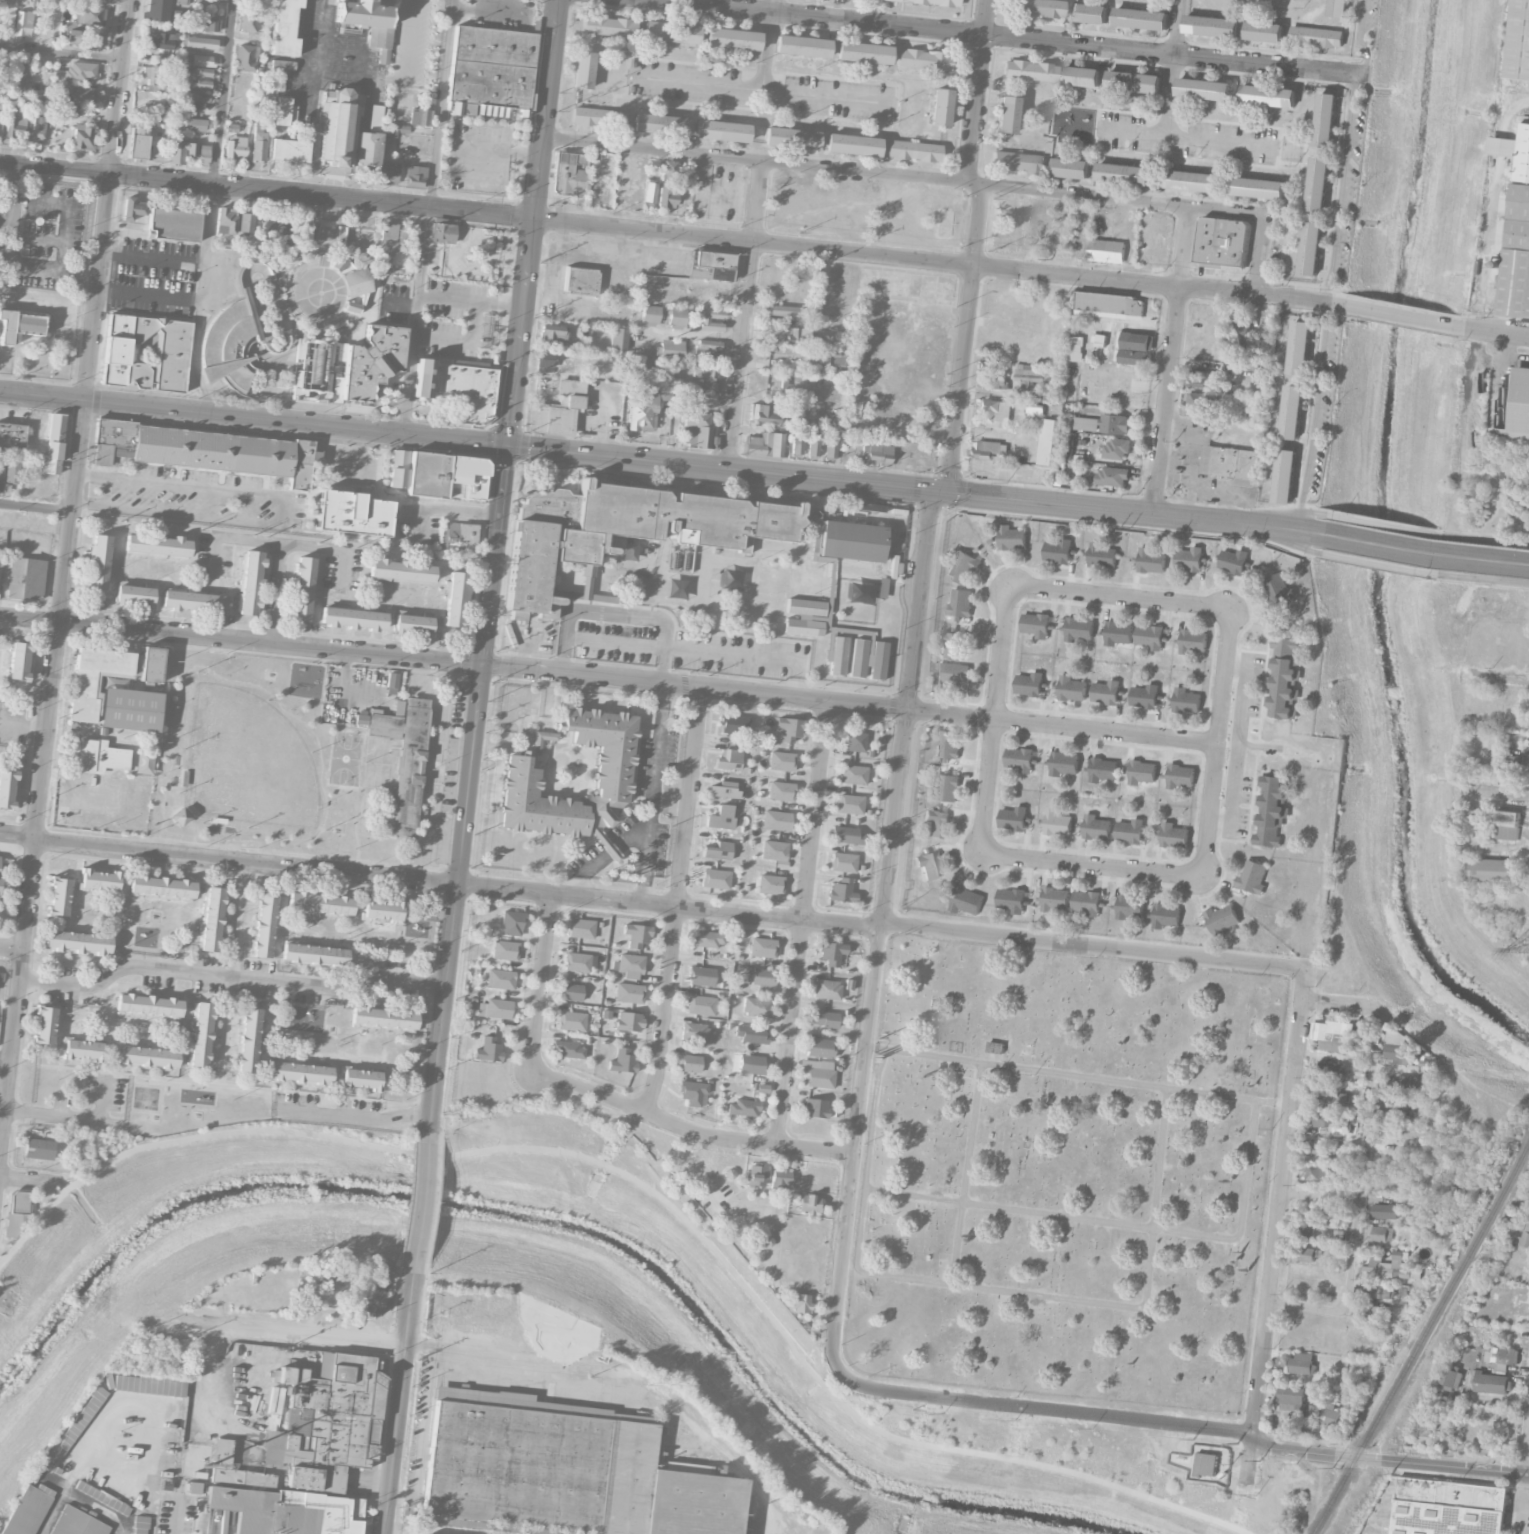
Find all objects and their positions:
building: (99, 0)
building: (252, 0)
building: (894, 0)
building: (937, 2)
building: (200, 4)
building: (1041, 8)
building: (1339, 8)
building: (158, 10)
building: (1089, 12)
building: (1142, 18)
building: (188, 19)
building: (369, 21)
building: (247, 22)
building: (23, 23)
building: (210, 25)
building: (1211, 25)
building: (609, 26)
building: (284, 28)
building: (1264, 31)
building: (670, 32)
building: (1317, 36)
building: (83, 37)
road: (999, 37)
building: (732, 39)
building: (163, 40)
building: (1519, 41)
building: (201, 43)
road: (769, 44)
building: (802, 46)
road: (61, 52)
building: (863, 53)
building: (245, 57)
building: (924, 59)
building: (199, 60)
building: (283, 64)
road: (1176, 68)
building: (583, 70)
building: (1029, 70)
building: (490, 71)
building: (80, 72)
building: (204, 72)
building: (19, 75)
building: (1082, 76)
building: (155, 78)
building: (1135, 81)
road: (764, 89)
building: (1205, 89)
road: (979, 91)
building: (81, 95)
building: (1269, 95)
building: (0, 101)
building: (199, 101)
road: (1522, 101)
building: (940, 107)
building: (283, 110)
building: (376, 114)
building: (1007, 114)
building: (420, 117)
building: (598, 117)
building: (156, 118)
building: (1325, 119)
building: (197, 124)
building: (659, 124)
building: (15, 126)
building: (339, 126)
building: (36, 128)
building: (721, 131)
building: (82, 137)
building: (791, 138)
road: (1187, 138)
building: (136, 142)
building: (259, 142)
building: (852, 144)
building: (235, 147)
building: (367, 148)
building: (290, 150)
building: (181, 151)
building: (914, 151)
building: (204, 152)
road: (754, 161)
building: (1018, 161)
building: (1072, 167)
building: (388, 172)
building: (670, 172)
building: (1125, 173)
building: (569, 174)
building: (415, 176)
building: (1194, 181)
building: (1318, 183)
road: (975, 184)
building: (1258, 187)
building: (650, 192)
road: (1086, 194)
building: (667, 197)
road: (209, 206)
building: (133, 208)
road: (1498, 215)
road: (428, 217)
road: (1265, 217)
building: (226, 220)
building: (246, 222)
road: (532, 222)
building: (174, 224)
building: (442, 233)
road: (668, 233)
building: (1008, 234)
building: (391, 239)
building: (1222, 241)
building: (1311, 248)
building: (1107, 250)
road: (12, 256)
road: (153, 256)
road: (1331, 271)
building: (580, 280)
building: (355, 282)
park: (309, 295)
road: (148, 296)
building: (1110, 304)
building: (783, 310)
building: (649, 315)
road: (746, 315)
road: (1402, 317)
building: (676, 318)
building: (18, 325)
road: (1499, 331)
building: (553, 334)
road: (701, 335)
building: (801, 337)
building: (619, 339)
road: (966, 339)
building: (1099, 340)
building: (1299, 347)
building: (232, 348)
building: (672, 348)
building: (1076, 348)
building: (1136, 348)
building: (172, 350)
building: (832, 357)
building: (545, 359)
road: (1171, 359)
building: (372, 361)
building: (1025, 372)
building: (311, 374)
building: (1200, 378)
building: (998, 381)
building: (457, 386)
building: (707, 386)
building: (1050, 394)
road: (42, 395)
building: (703, 397)
building: (1198, 401)
building: (646, 407)
building: (1517, 407)
building: (1035, 409)
building: (555, 410)
building: (808, 412)
building: (1292, 412)
building: (993, 413)
building: (768, 415)
building: (836, 419)
building: (1086, 423)
building: (1115, 423)
building: (115, 432)
road: (1467, 435)
building: (12, 436)
building: (1047, 441)
building: (796, 443)
building: (764, 444)
traffic signals: (507, 445)
building: (812, 445)
building: (832, 445)
building: (53, 446)
building: (987, 449)
building: (1116, 449)
building: (214, 450)
building: (103, 454)
building: (1231, 462)
building: (301, 465)
road: (698, 466)
building: (398, 471)
building: (12, 472)
building: (1, 474)
building: (427, 474)
building: (1113, 475)
building: (1285, 475)
building: (466, 477)
road: (1416, 483)
traffic signals: (942, 492)
road: (36, 506)
road: (447, 508)
road: (281, 511)
building: (353, 513)
road: (1293, 515)
road: (1382, 523)
building: (625, 528)
building: (458, 533)
building: (1012, 537)
road: (1481, 540)
road: (280, 542)
building: (852, 542)
road: (1289, 543)
building: (157, 545)
building: (1058, 550)
road: (1420, 550)
building: (1103, 555)
building: (1190, 558)
building: (1152, 560)
building: (1234, 561)
building: (98, 562)
road: (1380, 564)
building: (962, 565)
road: (64, 568)
building: (401, 571)
building: (26, 578)
road: (1483, 579)
building: (249, 582)
building: (301, 589)
building: (1280, 590)
road: (275, 593)
building: (133, 594)
park: (769, 594)
road: (1122, 598)
building: (455, 599)
building: (194, 601)
building: (960, 603)
road: (617, 613)
building: (352, 618)
building: (413, 624)
building: (1036, 624)
building: (1079, 628)
building: (1118, 633)
building: (1150, 636)
building: (1193, 641)
building: (954, 645)
road: (701, 650)
road: (522, 652)
building: (19, 661)
building: (151, 665)
building: (954, 672)
building: (1283, 678)
road: (609, 679)
building: (392, 680)
building: (1029, 683)
building: (84, 687)
building: (1071, 688)
building: (1106, 692)
building: (1145, 696)
building: (1186, 700)
road: (910, 708)
building: (129, 709)
building: (361, 719)
road: (996, 720)
building: (734, 724)
building: (790, 729)
building: (542, 739)
building: (855, 741)
building: (948, 744)
road: (1218, 745)
building: (101, 756)
building: (404, 757)
building: (1019, 758)
building: (728, 760)
building: (781, 761)
building: (1063, 763)
building: (1103, 769)
building: (1142, 771)
building: (853, 774)
building: (1180, 775)
building: (612, 779)
building: (947, 786)
building: (7, 788)
road: (467, 788)
building: (724, 789)
building: (780, 791)
road: (653, 793)
road: (1510, 796)
building: (850, 804)
building: (1271, 810)
building: (720, 817)
building: (1013, 818)
building: (776, 820)
building: (1057, 822)
building: (937, 823)
building: (1506, 824)
building: (1096, 826)
building: (1130, 830)
building: (847, 835)
building: (1174, 835)
road: (632, 836)
road: (610, 849)
building: (773, 850)
building: (718, 851)
building: (0, 859)
building: (843, 862)
building: (929, 864)
road: (1094, 868)
road: (582, 870)
building: (1492, 870)
building: (1252, 876)
building: (715, 878)
building: (99, 880)
building: (770, 884)
building: (162, 887)
building: (842, 890)
building: (59, 897)
building: (1055, 898)
building: (966, 899)
building: (1012, 899)
road: (678, 901)
building: (1087, 902)
building: (320, 904)
road: (653, 904)
building: (1130, 906)
building: (382, 910)
building: (1166, 915)
building: (211, 919)
building: (1222, 919)
building: (511, 923)
road: (802, 924)
building: (264, 925)
building: (581, 928)
building: (636, 934)
building: (708, 938)
building: (78, 942)
road: (11, 947)
building: (762, 947)
building: (505, 950)
building: (831, 953)
building: (314, 954)
building: (577, 962)
building: (629, 964)
road: (235, 972)
building: (701, 976)
road: (229, 978)
building: (500, 979)
building: (761, 979)
road: (540, 983)
building: (826, 989)
building: (572, 992)
building: (628, 993)
building: (149, 1005)
building: (700, 1005)
building: (756, 1007)
building: (498, 1008)
building: (303, 1018)
building: (383, 1018)
building: (823, 1018)
building: (571, 1021)
building: (628, 1021)
building: (45, 1024)
building: (694, 1032)
building: (750, 1033)
building: (200, 1034)
building: (1333, 1035)
building: (248, 1040)
building: (819, 1047)
building: (1399, 1047)
building: (569, 1049)
building: (82, 1050)
building: (488, 1050)
building: (144, 1056)
building: (622, 1061)
road: (4, 1062)
building: (689, 1063)
building: (751, 1064)
building: (1360, 1064)
building: (1330, 1069)
building: (298, 1073)
building: (818, 1073)
building: (360, 1078)
road: (1375, 1080)
road: (234, 1086)
building: (762, 1088)
building: (1330, 1091)
building: (693, 1093)
road: (85, 1096)
road: (277, 1101)
building: (743, 1108)
building: (814, 1108)
building: (1393, 1110)
road: (353, 1118)
road: (63, 1119)
building: (1326, 1119)
road: (688, 1129)
building: (39, 1148)
building: (1320, 1149)
road: (855, 1152)
building: (1319, 1172)
park: (1065, 1175)
building: (756, 1176)
building: (780, 1177)
road: (23, 1178)
road: (653, 1193)
road: (420, 1202)
building: (808, 1203)
building: (1384, 1210)
building: (16, 1214)
building: (1305, 1227)
road: (1277, 1230)
building: (1380, 1233)
building: (1523, 1236)
park: (189, 1246)
building: (1308, 1254)
road: (1356, 1255)
building: (1388, 1267)
building: (1379, 1292)
building: (372, 1295)
building: (798, 1302)
road: (294, 1330)
railway: (1422, 1338)
building: (1502, 1357)
road: (515, 1358)
building: (1302, 1363)
building: (1450, 1376)
building: (1492, 1382)
building: (140, 1384)
building: (1292, 1398)
road: (398, 1403)
building: (1312, 1411)
building: (1331, 1416)
building: (81, 1418)
building: (326, 1422)
road: (1185, 1425)
building: (1424, 1432)
road: (1526, 1451)
building: (1207, 1464)
building: (564, 1471)
building: (194, 1488)
building: (102, 1497)
building: (275, 1502)
road: (1520, 1503)
building: (1449, 1507)
building: (25, 1509)
road: (177, 1511)
building: (197, 1521)
building: (78, 1523)
building: (140, 1525)

